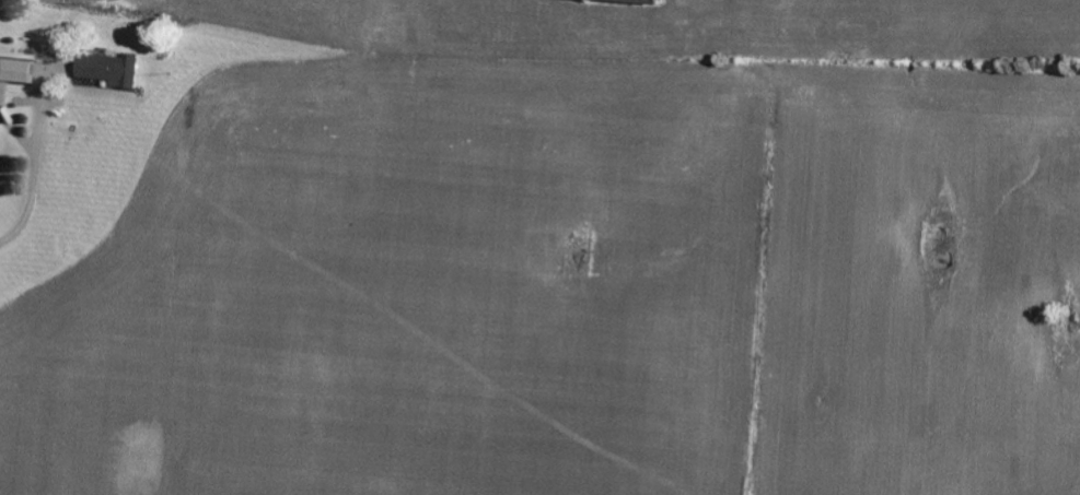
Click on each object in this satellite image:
building: (641, 0)
building: (114, 69)
building: (18, 70)

